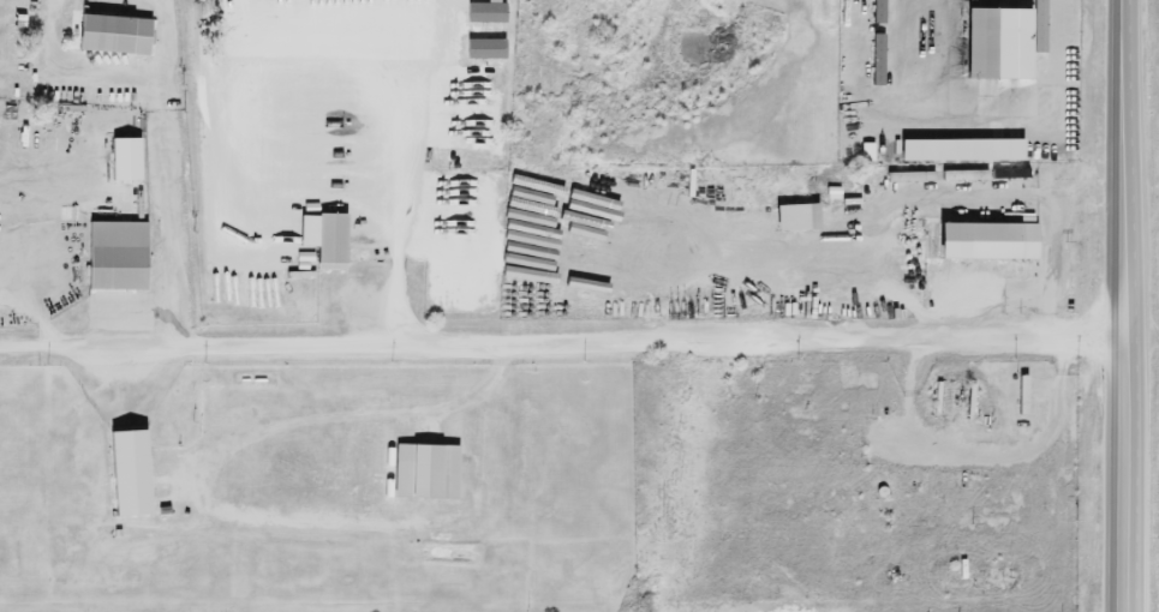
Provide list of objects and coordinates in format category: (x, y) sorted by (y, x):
road: (168, 38)
building: (998, 46)
road: (68, 79)
road: (994, 103)
road: (1130, 168)
road: (401, 175)
road: (167, 215)
road: (1145, 336)
road: (564, 344)
road: (125, 385)
road: (1134, 474)
road: (219, 508)

